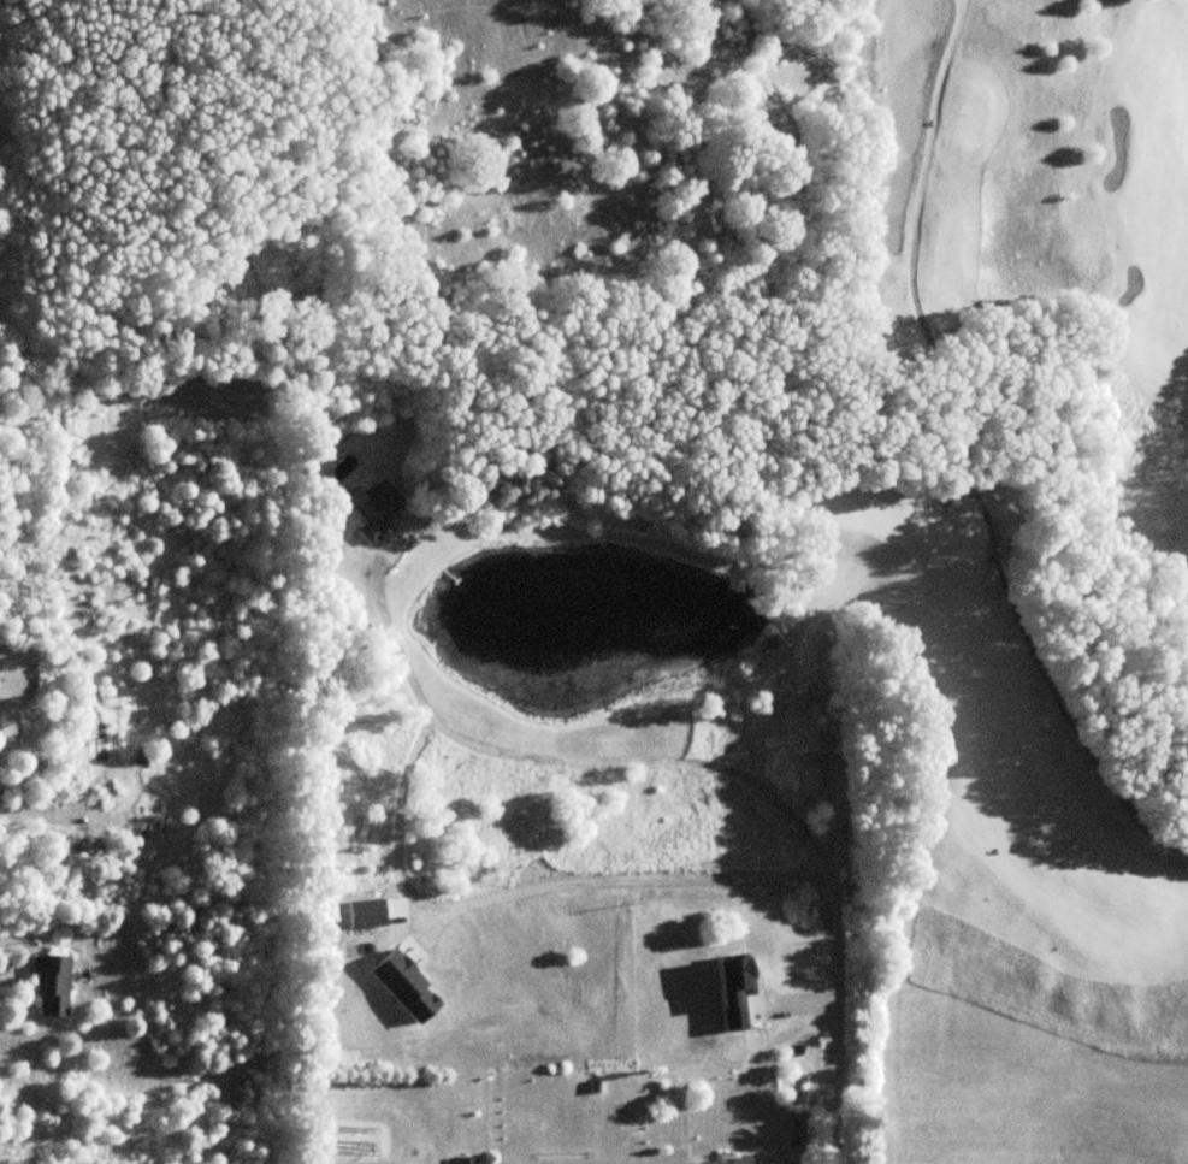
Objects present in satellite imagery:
building: (374, 509)
park: (1012, 578)
road: (723, 770)
road: (655, 879)
building: (52, 987)
building: (465, 1160)
building: (720, 1162)

